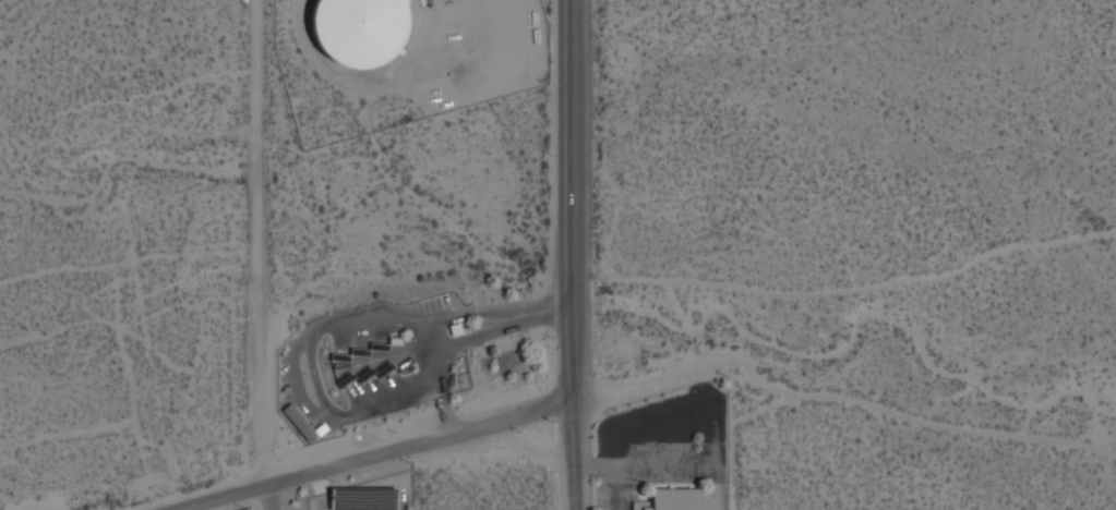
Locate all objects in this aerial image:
building: (358, 29)
storage tank: (358, 29)
road: (564, 202)
road: (425, 336)
road: (317, 388)
road: (447, 408)
road: (708, 434)
parking lot: (662, 442)
road: (382, 457)
road: (573, 457)
road: (593, 464)
road: (266, 500)
building: (674, 500)

